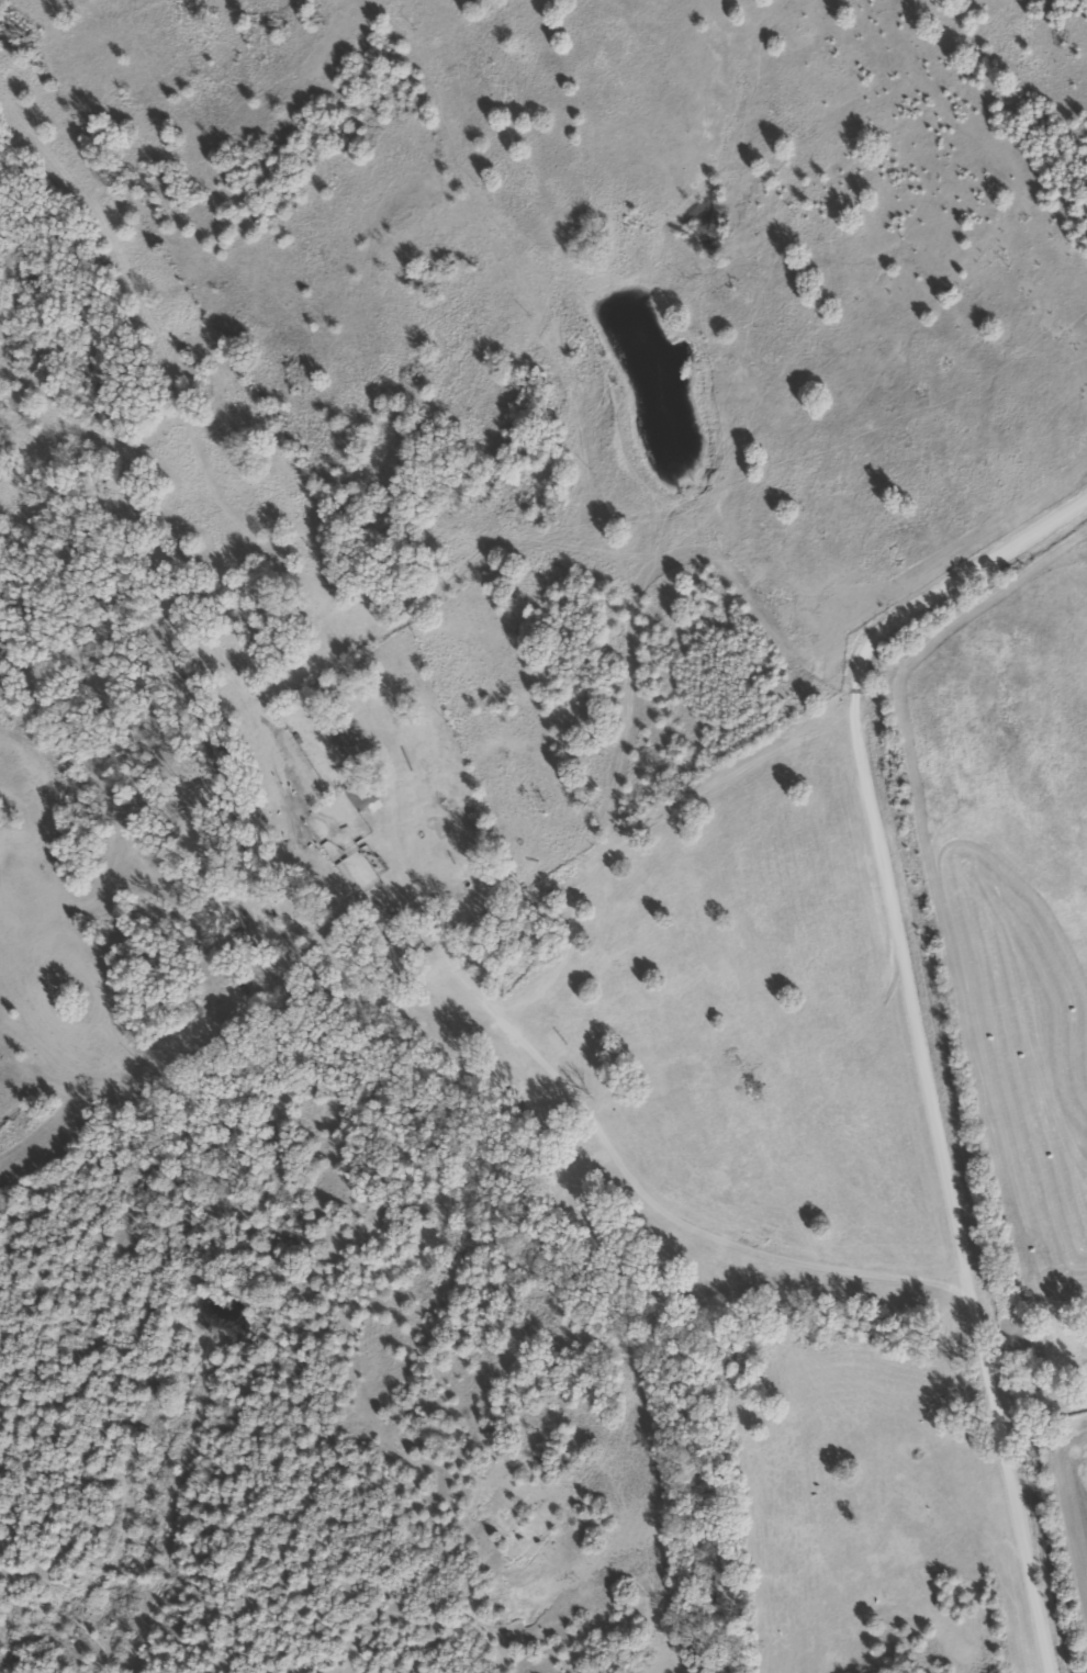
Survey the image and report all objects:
building: (340, 737)
building: (357, 794)
road: (840, 858)
road: (975, 1498)

